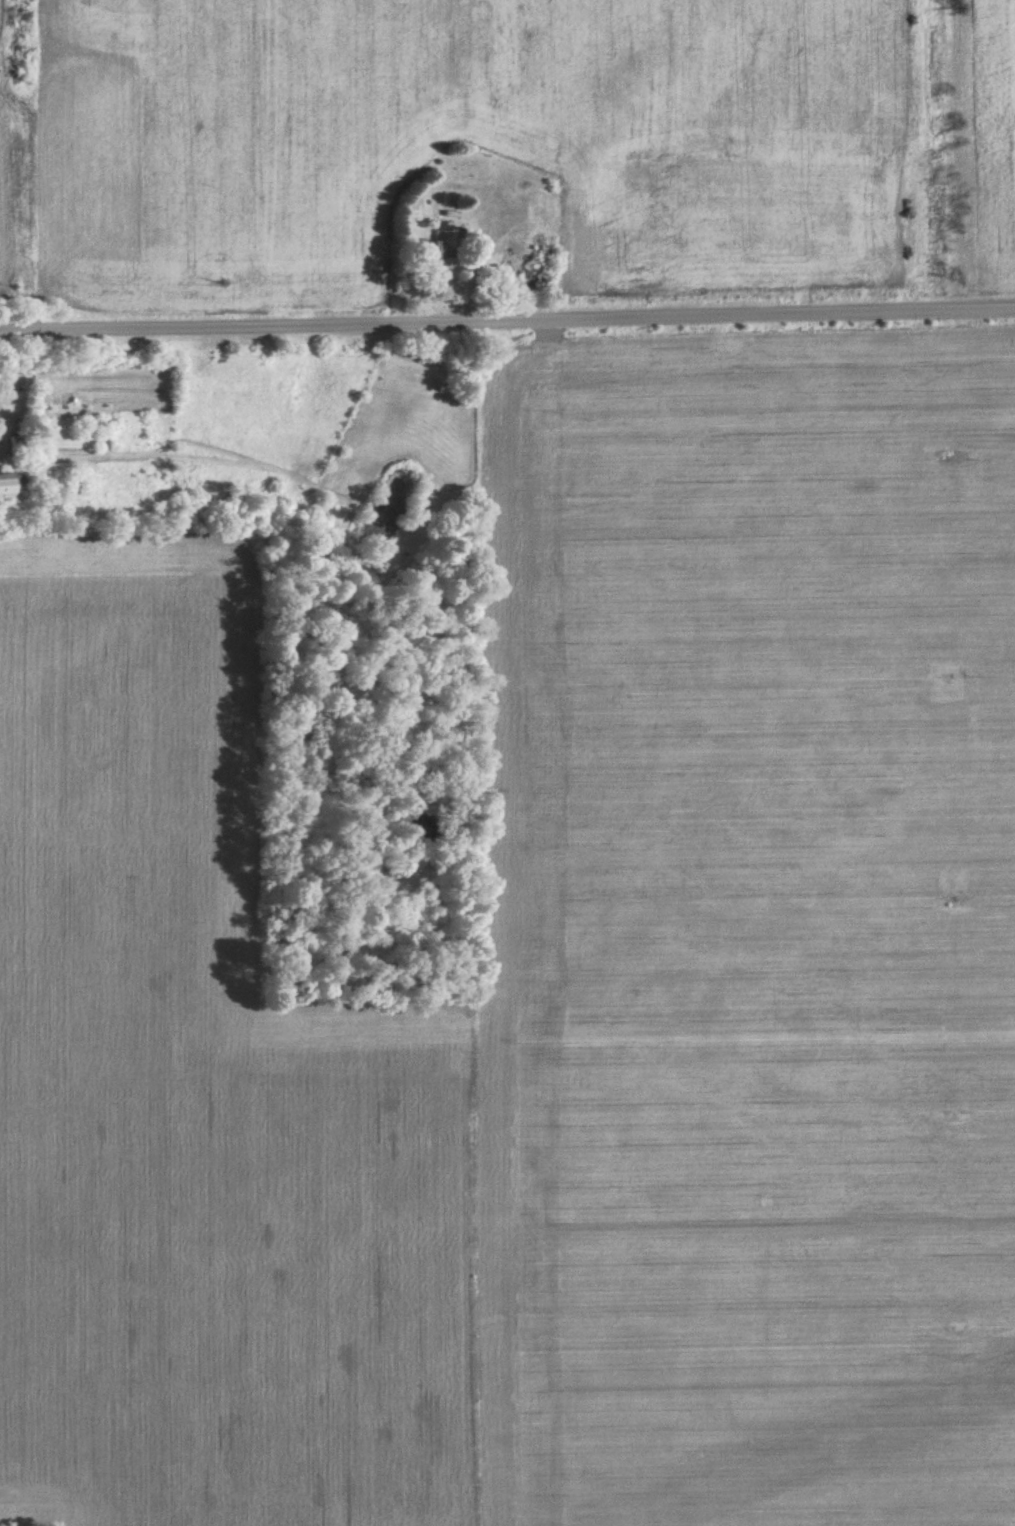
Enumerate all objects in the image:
building: (537, 216)
building: (439, 244)
road: (507, 322)
building: (21, 446)
building: (4, 489)

